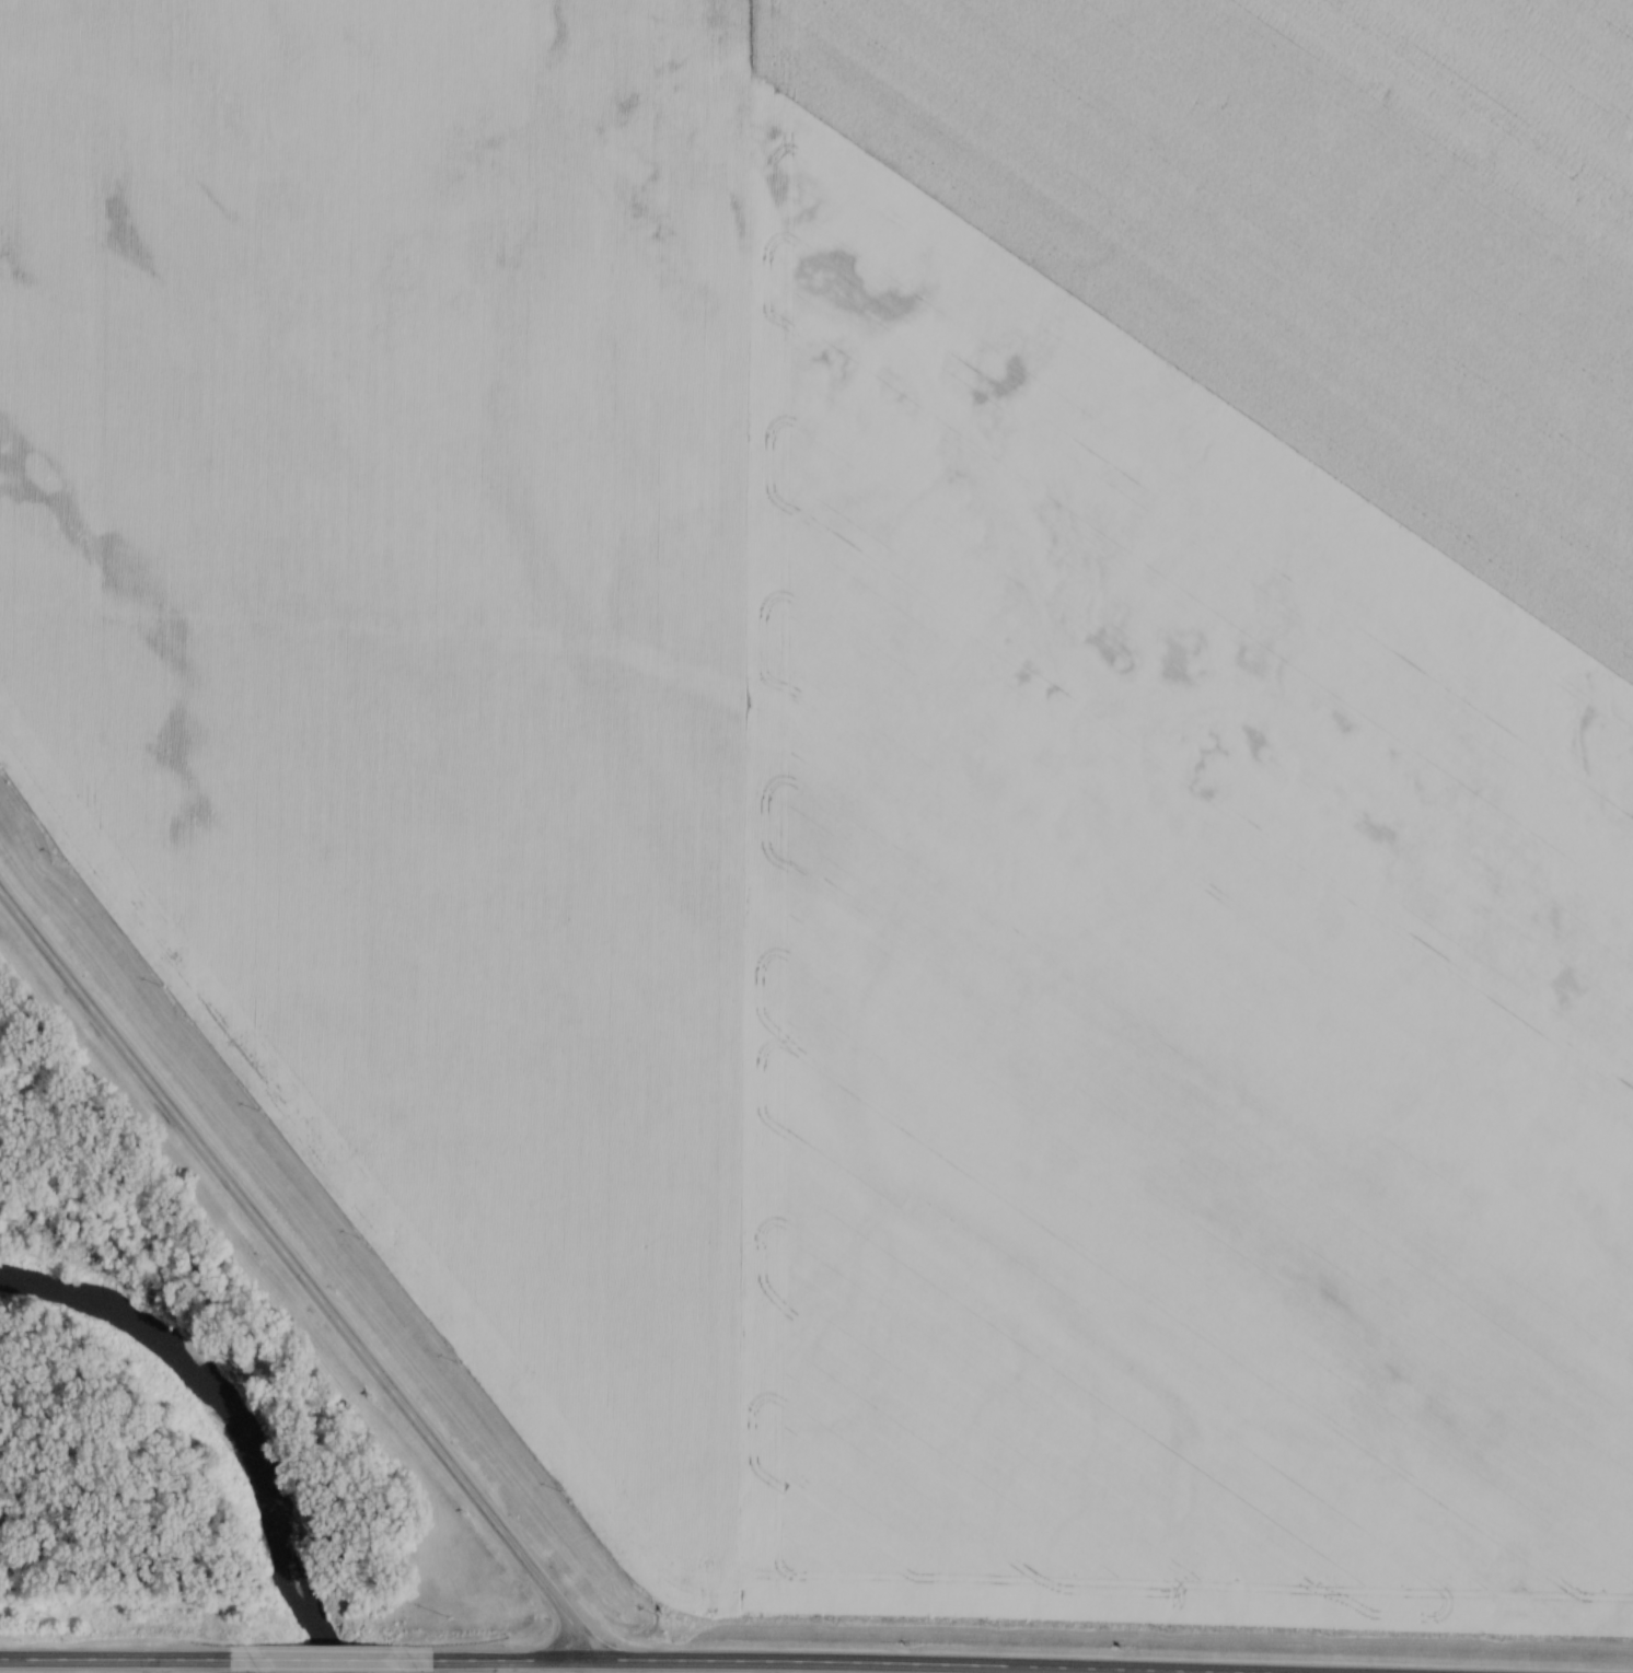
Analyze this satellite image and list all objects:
road: (300, 1278)
river: (218, 1424)
road: (326, 1660)
road: (129, 1661)
road: (776, 1665)

